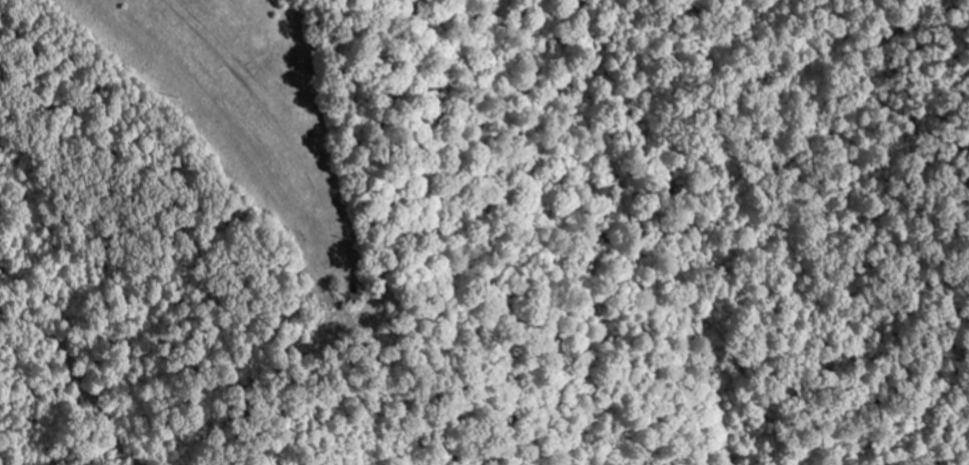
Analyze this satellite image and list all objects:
road: (937, 6)
building: (353, 295)

